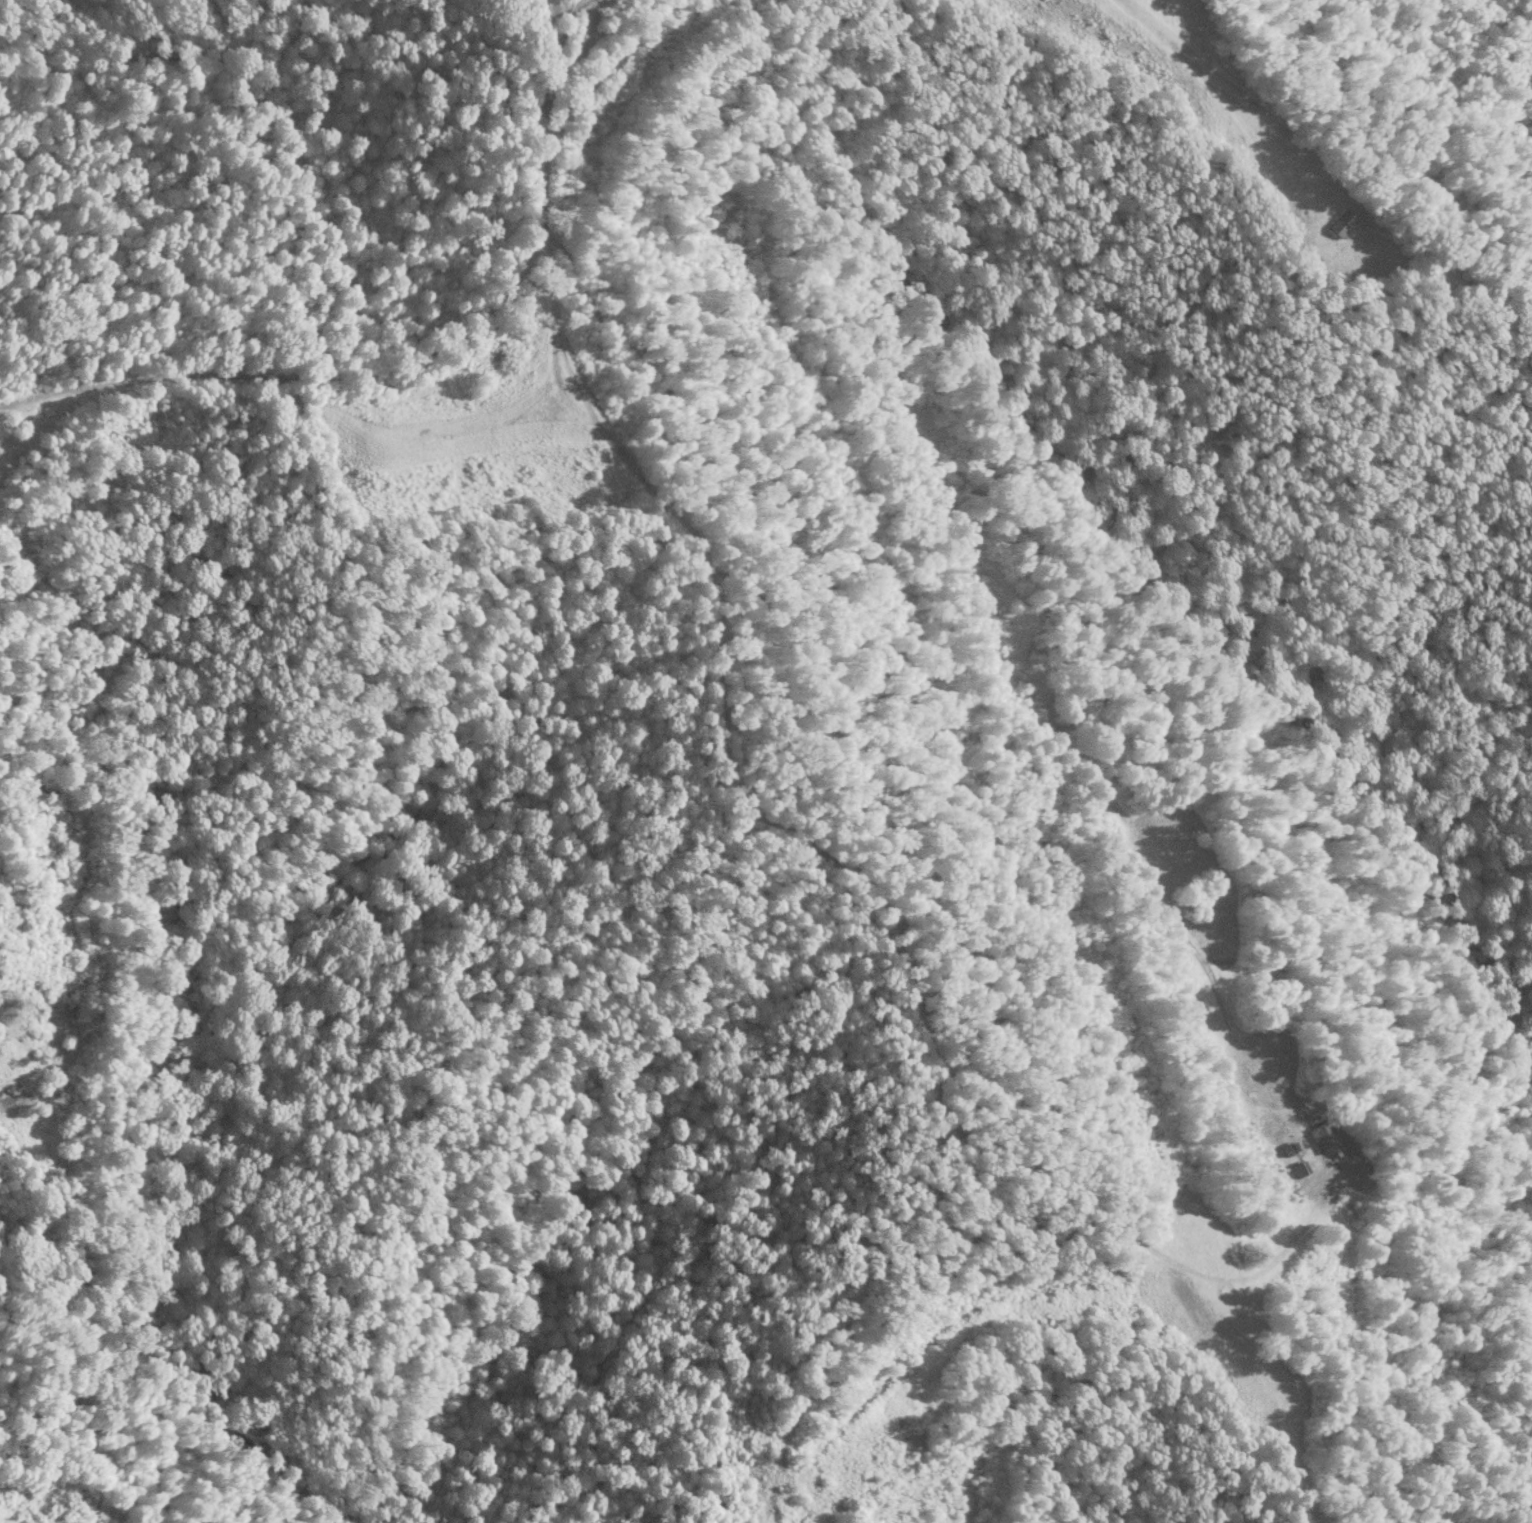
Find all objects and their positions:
road: (710, 18)
building: (1344, 225)
building: (1331, 1152)

